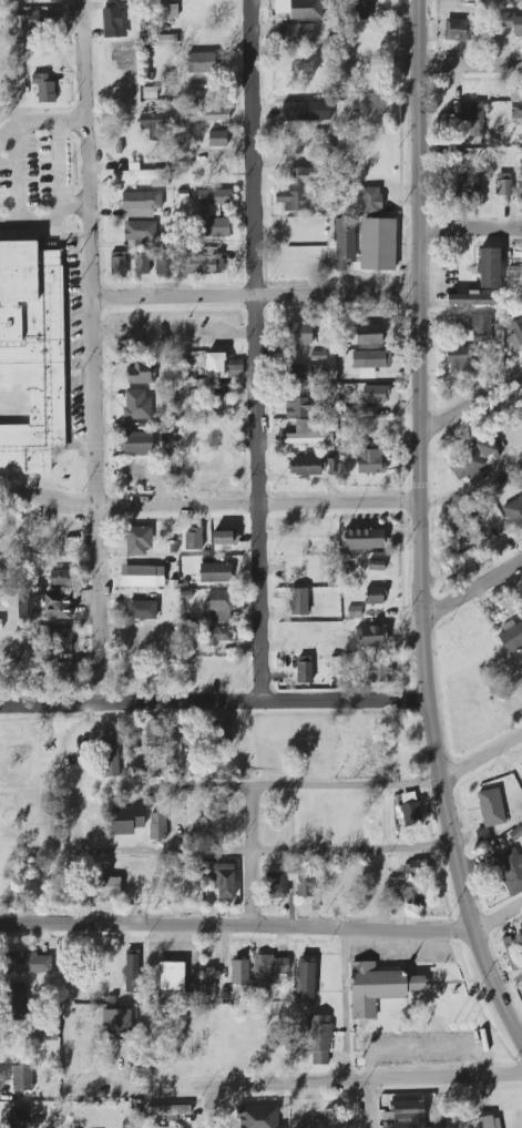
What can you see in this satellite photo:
building: (306, 9)
building: (360, 10)
building: (166, 11)
building: (112, 23)
building: (458, 23)
building: (512, 23)
building: (296, 34)
building: (166, 41)
building: (201, 62)
road: (469, 64)
building: (44, 87)
building: (305, 111)
building: (516, 111)
building: (204, 116)
road: (40, 123)
building: (153, 124)
building: (217, 139)
building: (298, 144)
building: (144, 175)
building: (299, 176)
building: (503, 184)
building: (214, 197)
building: (295, 201)
building: (370, 201)
building: (141, 204)
road: (45, 221)
building: (214, 227)
road: (470, 230)
building: (140, 231)
building: (9, 235)
building: (344, 243)
building: (377, 244)
building: (116, 264)
building: (141, 264)
building: (164, 265)
building: (201, 265)
building: (489, 268)
road: (255, 294)
building: (473, 298)
building: (481, 328)
building: (515, 333)
road: (174, 334)
building: (300, 334)
building: (368, 335)
road: (255, 352)
road: (93, 353)
building: (31, 354)
building: (370, 359)
building: (459, 360)
building: (222, 366)
building: (301, 372)
building: (137, 373)
building: (375, 394)
building: (136, 404)
building: (219, 405)
road: (471, 405)
building: (298, 408)
building: (307, 434)
building: (139, 441)
building: (472, 460)
building: (369, 461)
building: (305, 467)
building: (137, 472)
road: (49, 496)
road: (257, 505)
building: (514, 512)
road: (419, 531)
building: (224, 538)
building: (364, 539)
building: (139, 540)
building: (193, 540)
building: (463, 565)
building: (376, 566)
building: (214, 572)
building: (142, 576)
building: (61, 578)
road: (472, 590)
building: (520, 590)
building: (375, 596)
building: (298, 601)
building: (222, 603)
building: (57, 606)
building: (29, 608)
building: (142, 610)
building: (354, 612)
building: (0, 624)
building: (141, 632)
building: (218, 634)
building: (370, 637)
building: (511, 637)
building: (59, 639)
building: (304, 670)
building: (376, 672)
building: (58, 673)
road: (213, 704)
building: (222, 731)
building: (153, 733)
building: (176, 741)
road: (480, 759)
building: (109, 760)
road: (286, 786)
building: (491, 807)
building: (410, 809)
building: (126, 820)
building: (157, 826)
road: (268, 852)
road: (249, 856)
building: (416, 868)
building: (510, 871)
building: (224, 881)
building: (275, 885)
building: (108, 887)
building: (305, 887)
building: (414, 892)
road: (499, 921)
road: (236, 926)
building: (511, 953)
building: (28, 963)
building: (132, 971)
building: (267, 972)
building: (239, 973)
building: (171, 977)
building: (305, 977)
building: (209, 984)
building: (378, 987)
building: (16, 1003)
road: (345, 1005)
building: (116, 1025)
building: (318, 1040)
road: (422, 1048)
building: (21, 1078)
road: (313, 1085)
road: (366, 1106)
road: (207, 1109)
building: (168, 1110)
building: (409, 1114)
road: (55, 1116)
building: (258, 1117)
building: (19, 1119)
building: (329, 1119)
building: (484, 1122)
building: (160, 1127)

